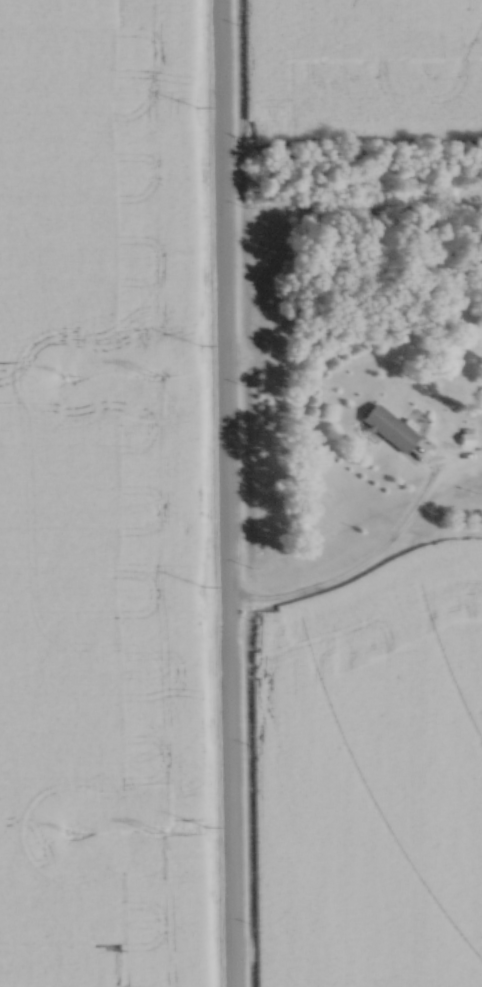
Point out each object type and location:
power tower: (149, 370)
power tower: (62, 373)
building: (388, 426)
road: (225, 493)
road: (351, 570)
power tower: (67, 829)
power tower: (154, 829)

